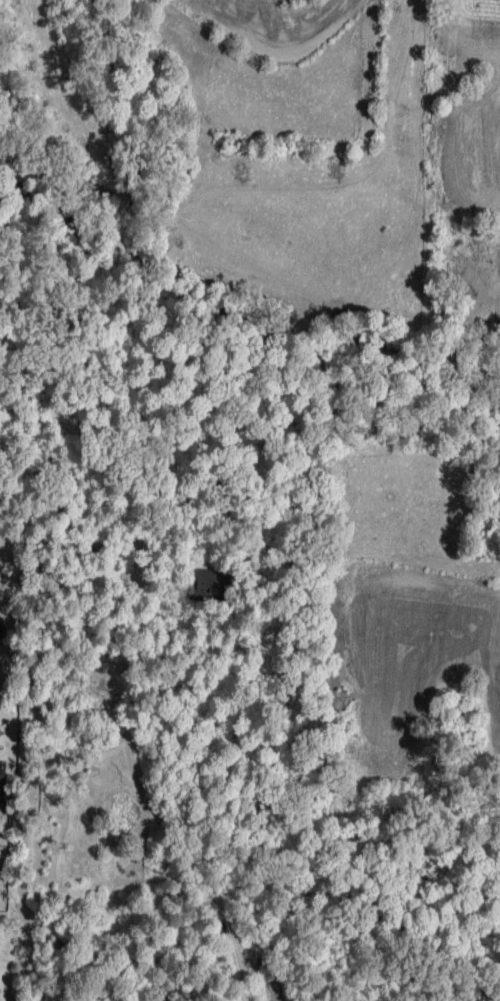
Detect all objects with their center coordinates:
building: (209, 585)
building: (2, 783)
road: (153, 804)

